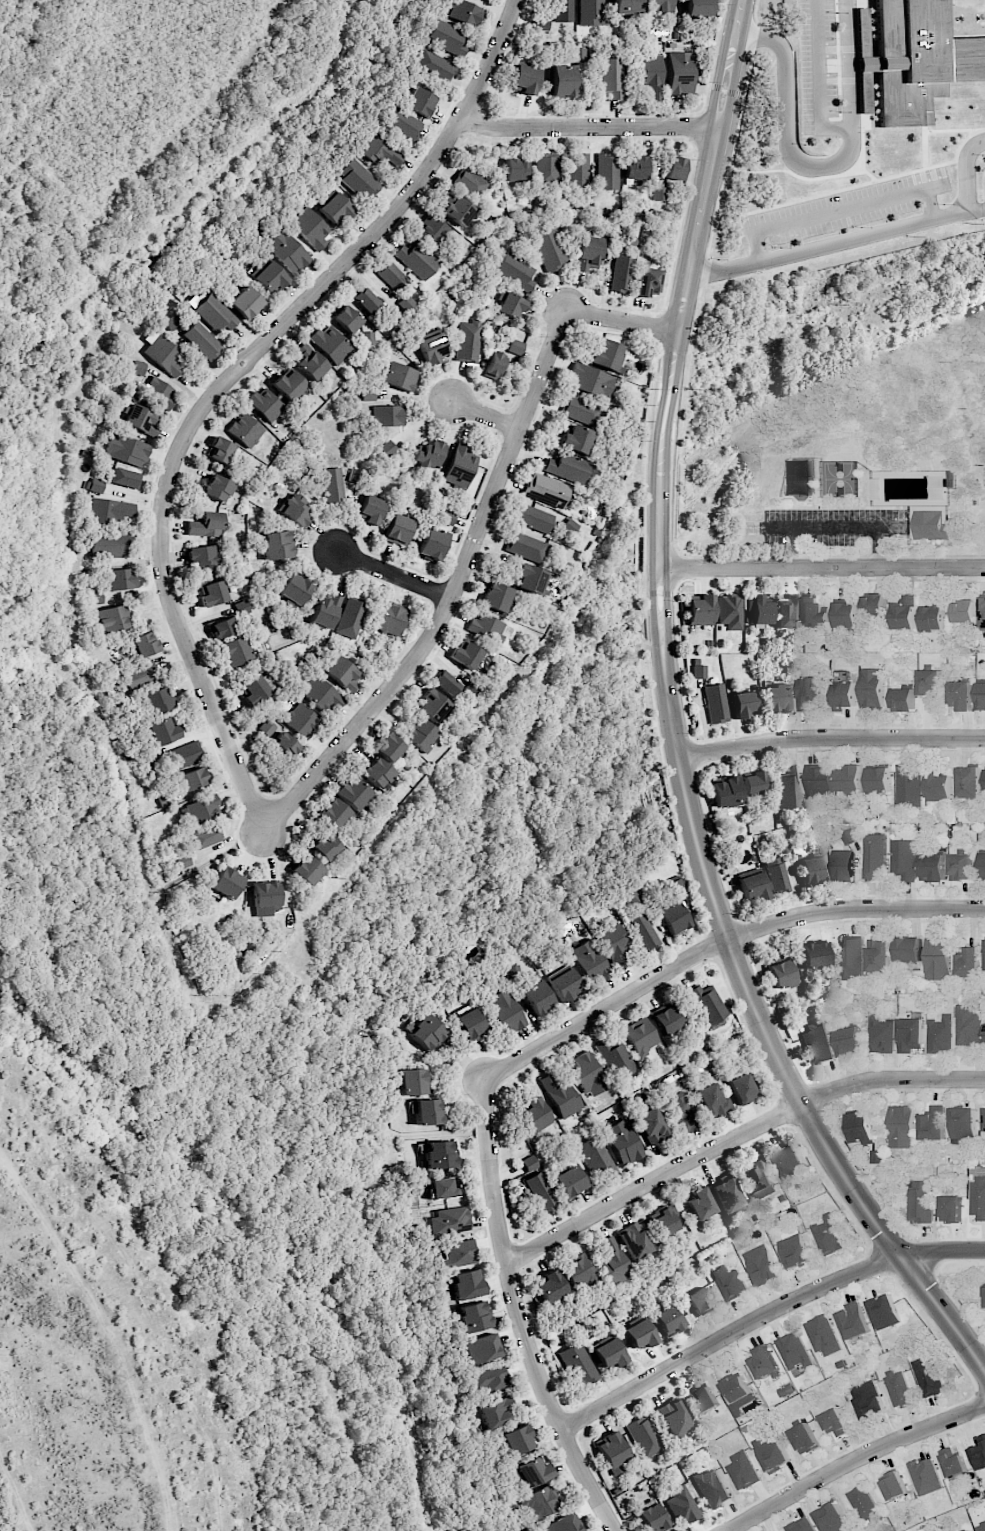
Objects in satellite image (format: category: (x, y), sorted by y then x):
building: (626, 6)
building: (659, 7)
building: (697, 8)
building: (563, 10)
building: (464, 12)
building: (590, 12)
building: (862, 32)
building: (446, 37)
building: (578, 53)
building: (917, 60)
building: (433, 66)
building: (679, 73)
building: (650, 75)
building: (611, 77)
road: (819, 78)
building: (523, 79)
building: (562, 80)
building: (420, 102)
building: (401, 123)
road: (588, 127)
building: (379, 152)
building: (546, 168)
building: (634, 168)
building: (673, 168)
road: (819, 168)
building: (514, 169)
building: (577, 169)
building: (606, 172)
road: (967, 172)
building: (357, 179)
building: (470, 183)
building: (658, 193)
road: (841, 207)
building: (334, 208)
building: (456, 211)
building: (310, 228)
building: (433, 231)
road: (837, 243)
building: (549, 248)
building: (286, 251)
building: (588, 253)
building: (416, 260)
building: (514, 271)
building: (621, 273)
building: (391, 275)
building: (268, 276)
building: (646, 281)
road: (687, 283)
building: (363, 298)
building: (246, 303)
building: (509, 304)
building: (215, 313)
building: (346, 319)
building: (367, 338)
building: (467, 339)
building: (202, 340)
building: (330, 344)
building: (515, 347)
building: (431, 348)
building: (162, 353)
building: (605, 353)
building: (309, 362)
building: (493, 364)
building: (138, 367)
building: (398, 376)
road: (230, 379)
building: (588, 380)
building: (288, 384)
building: (159, 392)
building: (265, 404)
building: (579, 411)
building: (385, 415)
road: (483, 415)
building: (141, 420)
building: (245, 429)
building: (575, 439)
building: (387, 448)
building: (126, 450)
building: (219, 450)
building: (428, 454)
building: (460, 465)
building: (565, 467)
building: (354, 475)
building: (124, 477)
building: (800, 478)
building: (332, 485)
building: (217, 488)
building: (545, 490)
building: (295, 509)
building: (370, 509)
building: (109, 511)
building: (447, 516)
building: (531, 518)
building: (206, 524)
building: (931, 526)
road: (835, 527)
building: (398, 530)
road: (476, 532)
building: (432, 543)
building: (109, 545)
building: (276, 545)
building: (525, 547)
building: (201, 557)
road: (821, 568)
road: (393, 576)
building: (530, 578)
building: (120, 579)
building: (294, 589)
building: (213, 593)
building: (95, 597)
building: (495, 597)
building: (875, 605)
building: (325, 609)
building: (700, 610)
building: (729, 611)
building: (759, 611)
building: (815, 611)
building: (787, 612)
building: (964, 612)
building: (983, 612)
building: (847, 614)
building: (905, 614)
building: (350, 618)
building: (391, 618)
building: (933, 618)
building: (109, 619)
building: (230, 620)
building: (486, 627)
building: (144, 644)
building: (234, 650)
building: (465, 655)
building: (698, 671)
building: (341, 673)
building: (141, 675)
building: (445, 682)
building: (929, 682)
building: (872, 688)
building: (252, 690)
building: (808, 692)
building: (320, 695)
building: (844, 695)
building: (960, 695)
building: (981, 696)
building: (778, 698)
building: (903, 700)
building: (156, 701)
building: (715, 703)
building: (742, 704)
building: (432, 705)
building: (299, 720)
building: (162, 731)
building: (419, 734)
building: (276, 738)
road: (830, 738)
building: (387, 747)
building: (185, 755)
building: (376, 772)
building: (192, 778)
building: (850, 779)
building: (819, 780)
building: (879, 780)
building: (753, 782)
building: (969, 782)
building: (909, 786)
building: (939, 787)
building: (789, 789)
building: (725, 792)
building: (352, 793)
building: (164, 799)
building: (202, 809)
building: (333, 814)
building: (202, 837)
building: (848, 837)
building: (325, 847)
building: (874, 856)
building: (904, 857)
building: (182, 859)
building: (842, 865)
building: (983, 866)
building: (933, 867)
building: (960, 867)
building: (305, 870)
building: (812, 870)
building: (777, 875)
building: (226, 882)
building: (752, 886)
building: (265, 897)
building: (671, 918)
building: (641, 931)
road: (717, 939)
building: (612, 944)
building: (908, 950)
building: (814, 955)
building: (879, 956)
building: (851, 957)
building: (937, 958)
building: (588, 962)
building: (969, 963)
building: (781, 974)
building: (562, 983)
building: (537, 997)
road: (752, 1001)
building: (707, 1005)
building: (505, 1011)
building: (666, 1020)
building: (470, 1023)
building: (969, 1025)
building: (427, 1033)
building: (881, 1034)
building: (910, 1034)
building: (940, 1034)
building: (640, 1035)
building: (847, 1041)
building: (816, 1044)
building: (615, 1058)
building: (587, 1073)
building: (412, 1082)
building: (741, 1088)
building: (560, 1096)
building: (712, 1101)
building: (427, 1111)
building: (680, 1113)
building: (534, 1115)
building: (983, 1119)
building: (963, 1123)
building: (933, 1124)
building: (650, 1126)
building: (861, 1127)
building: (901, 1127)
road: (734, 1137)
building: (622, 1142)
building: (439, 1154)
building: (878, 1156)
building: (595, 1157)
building: (786, 1162)
building: (529, 1163)
building: (758, 1179)
building: (568, 1181)
building: (442, 1188)
building: (540, 1192)
building: (726, 1195)
building: (978, 1197)
building: (922, 1201)
building: (699, 1203)
building: (951, 1209)
building: (449, 1220)
building: (662, 1221)
building: (828, 1235)
building: (634, 1241)
building: (794, 1248)
building: (458, 1252)
building: (613, 1260)
building: (762, 1265)
building: (579, 1271)
building: (729, 1283)
building: (466, 1284)
building: (550, 1286)
building: (984, 1289)
building: (700, 1302)
building: (885, 1312)
road: (516, 1313)
road: (763, 1315)
building: (473, 1316)
building: (667, 1321)
building: (853, 1322)
building: (639, 1334)
building: (824, 1336)
building: (483, 1348)
building: (794, 1351)
building: (608, 1353)
building: (764, 1362)
building: (577, 1364)
building: (928, 1377)
building: (490, 1379)
building: (899, 1389)
building: (738, 1394)
building: (704, 1400)
building: (868, 1400)
building: (498, 1412)
building: (673, 1416)
building: (835, 1423)
building: (643, 1436)
building: (804, 1438)
building: (520, 1440)
building: (772, 1452)
building: (612, 1453)
building: (979, 1455)
road: (851, 1459)
building: (953, 1461)
building: (742, 1470)
building: (534, 1472)
building: (926, 1476)
building: (894, 1485)
building: (711, 1487)
building: (540, 1502)
building: (681, 1504)
building: (865, 1506)
building: (651, 1517)
building: (832, 1519)
building: (563, 1523)
building: (801, 1525)
building: (980, 1526)
building: (969, 1530)

